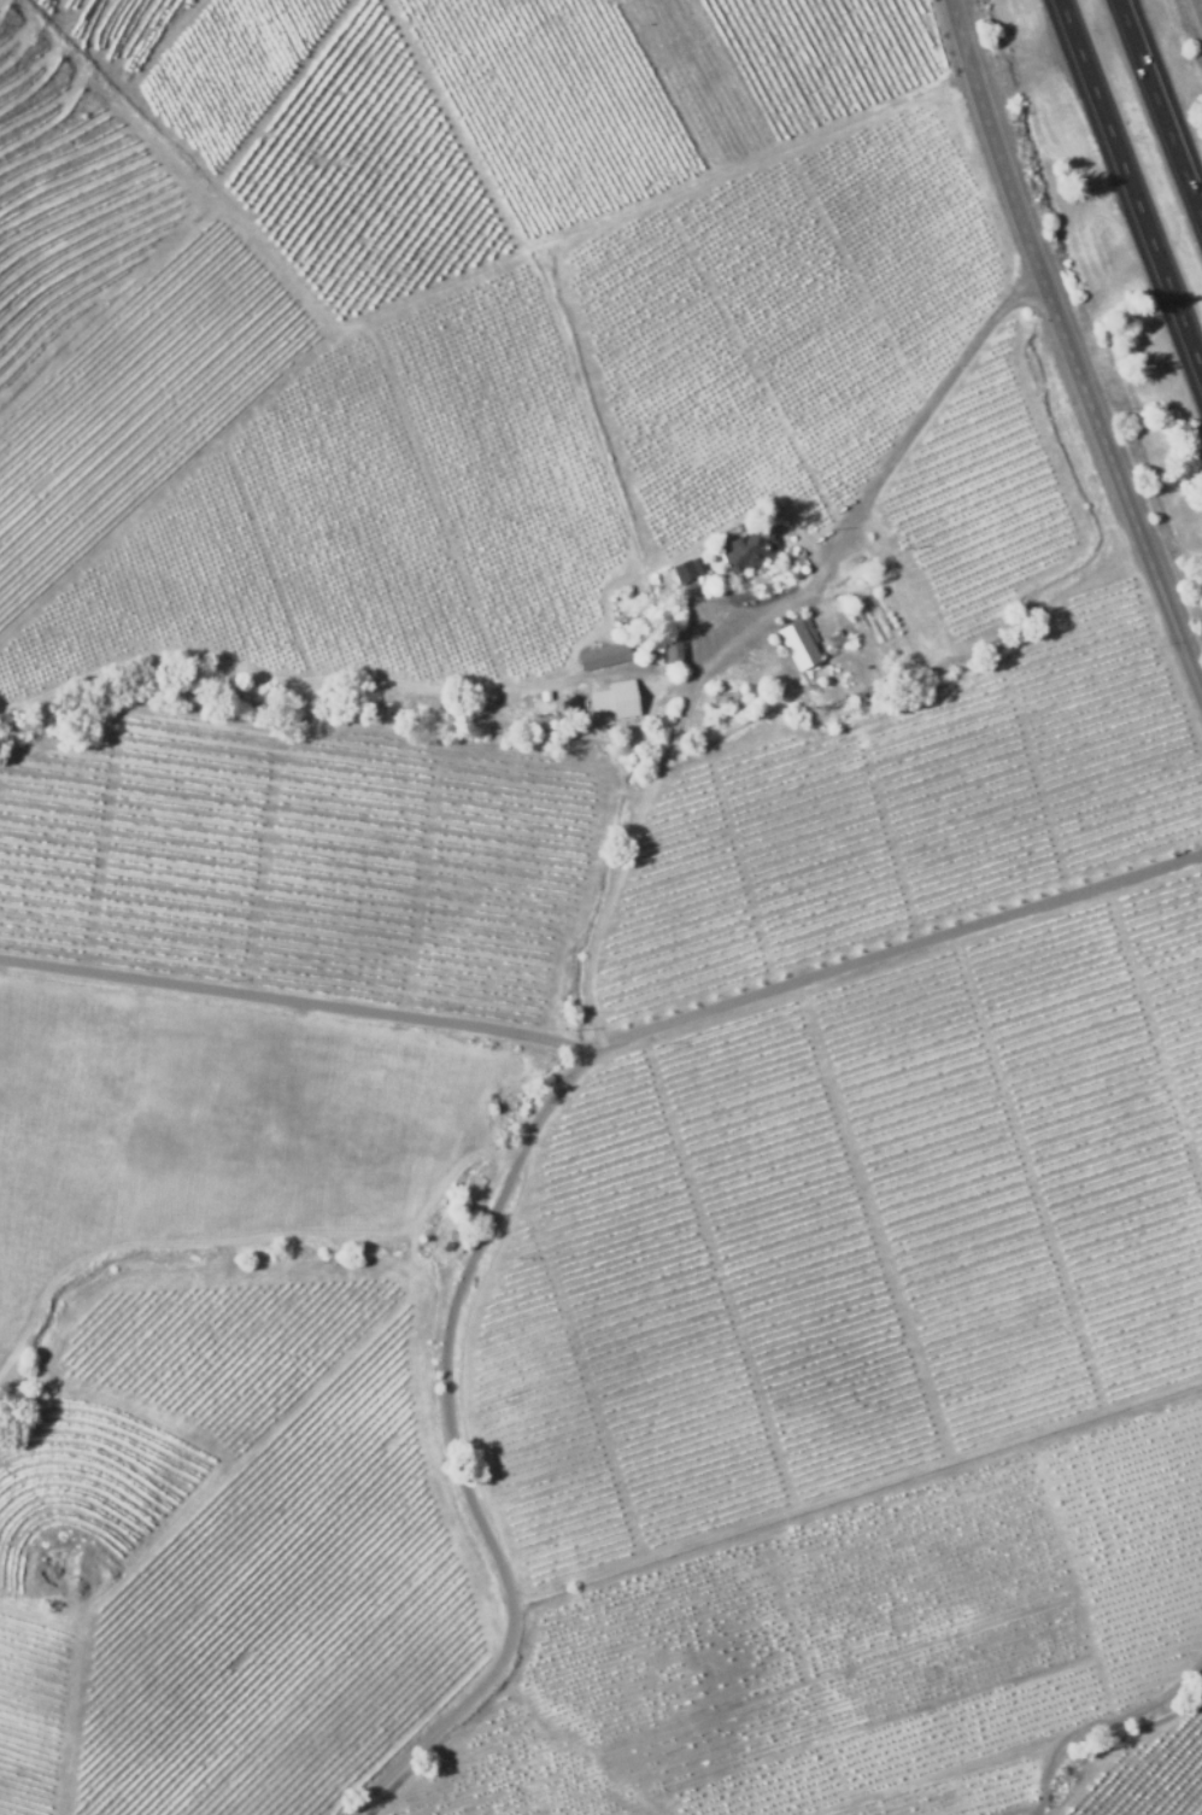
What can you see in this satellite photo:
road: (1197, 10)
road: (1163, 99)
road: (1132, 182)
road: (1072, 329)
road: (869, 493)
building: (749, 549)
building: (688, 569)
building: (832, 622)
building: (797, 646)
building: (674, 650)
building: (602, 658)
building: (543, 695)
building: (614, 702)
road: (618, 877)
road: (610, 1041)
road: (453, 1444)

